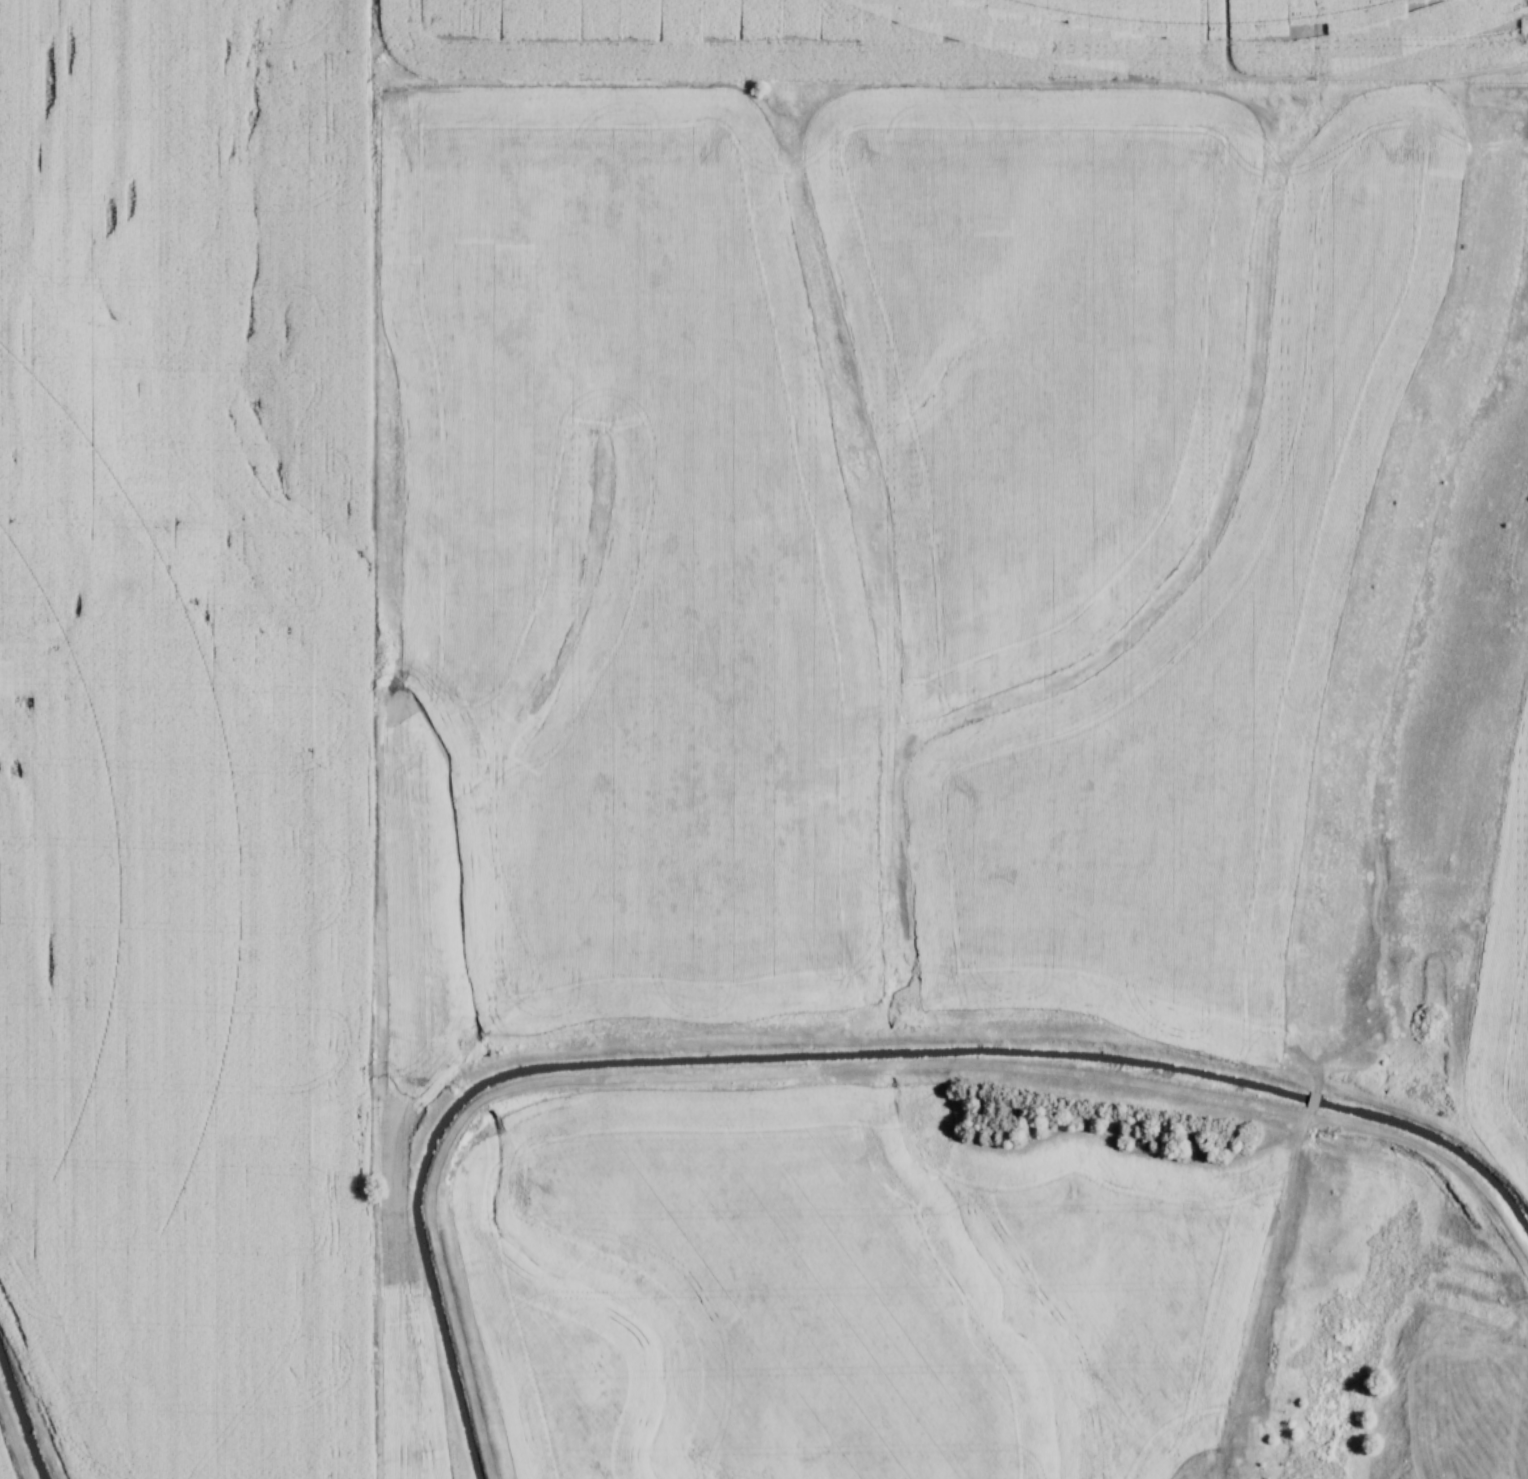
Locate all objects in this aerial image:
building: (1311, 1101)

